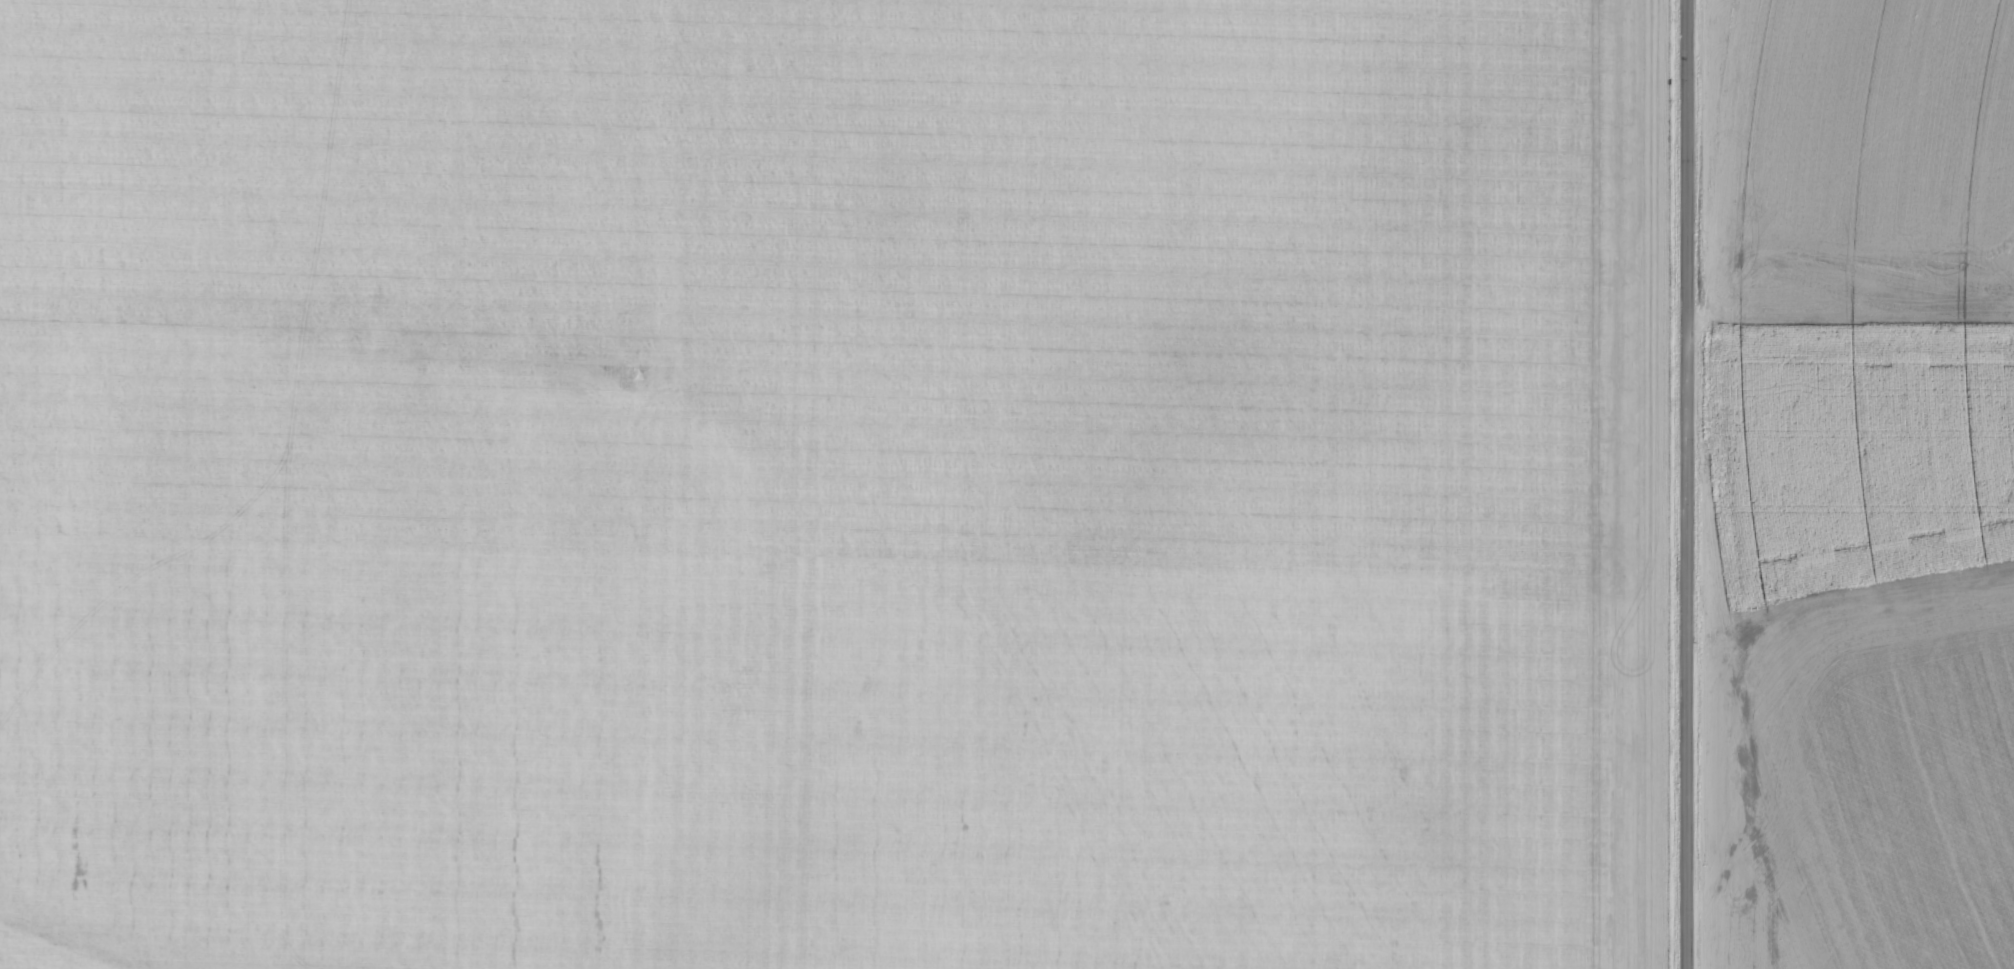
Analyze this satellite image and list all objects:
road: (1689, 484)

